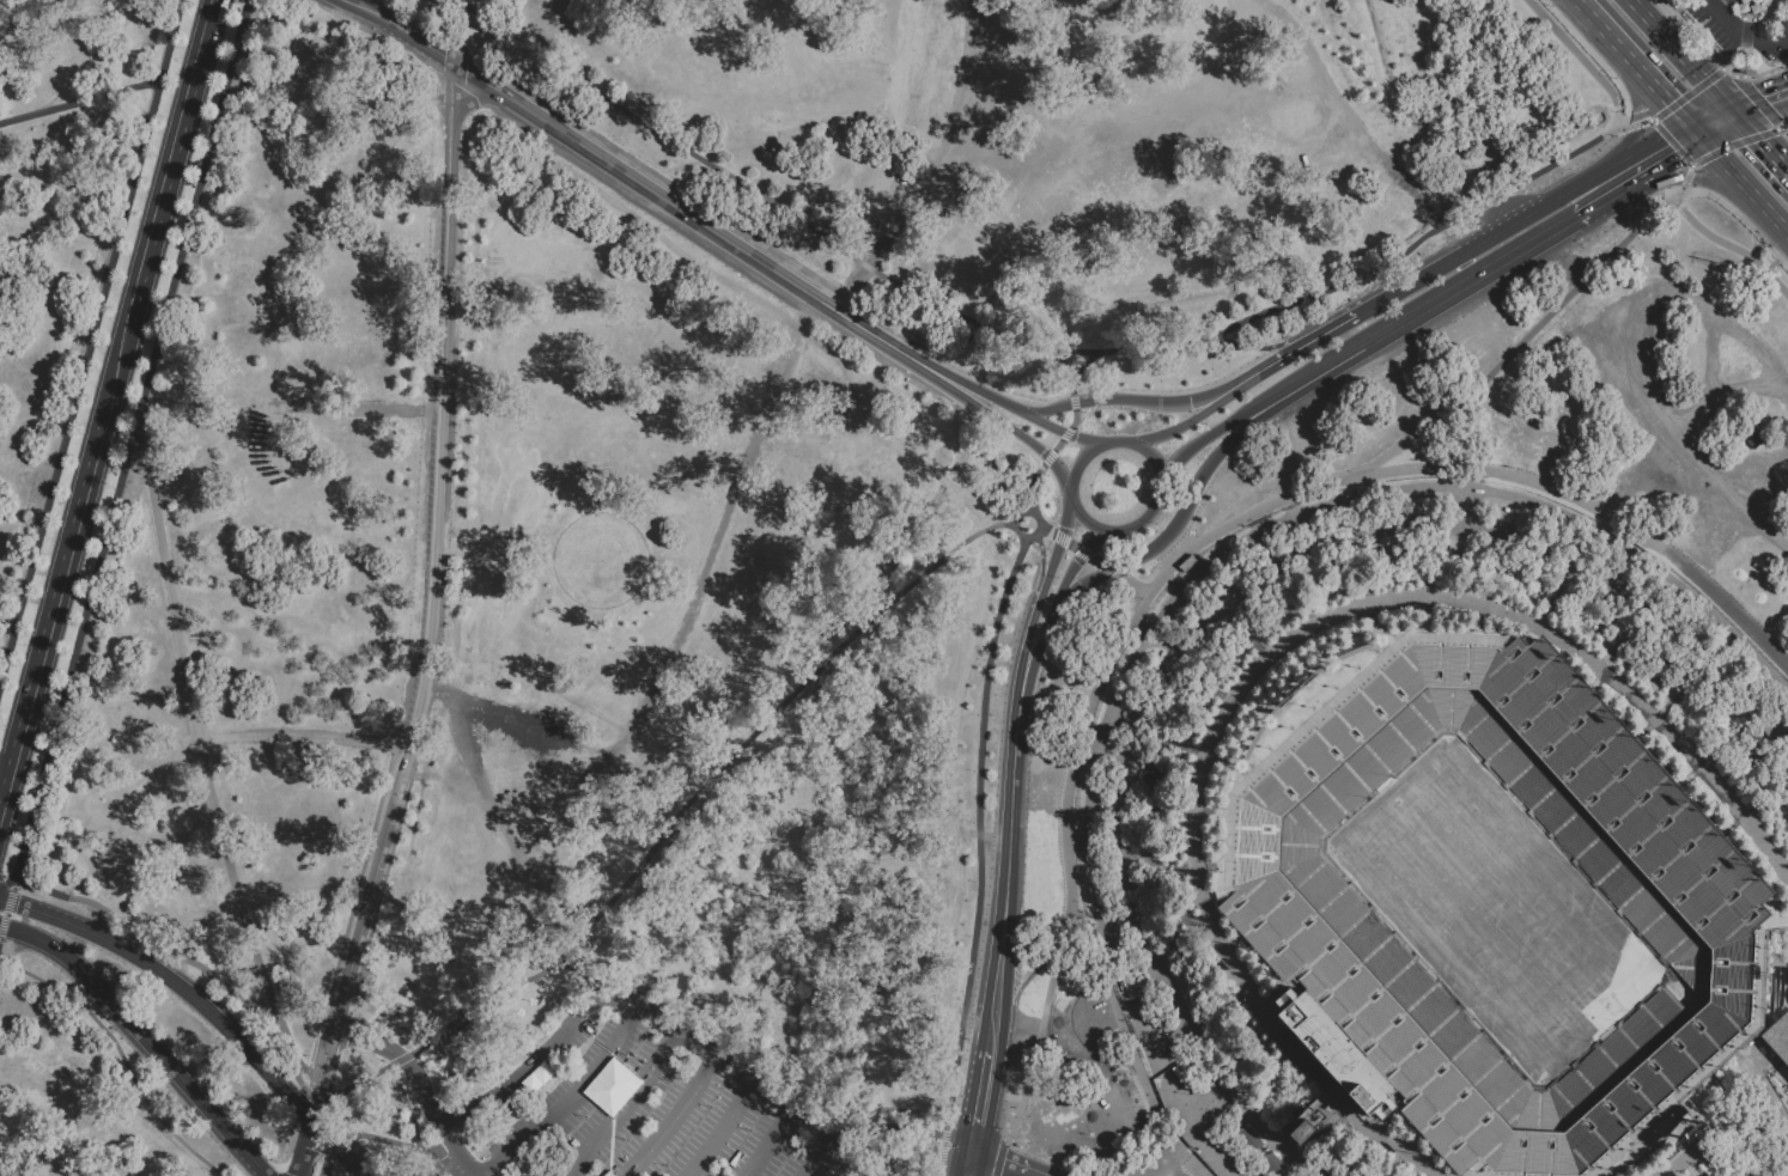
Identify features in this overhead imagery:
building: (1741, 6)
building: (1753, 6)
road: (1765, 20)
road: (1727, 23)
parking lot: (1743, 26)
road: (1602, 30)
road: (455, 31)
road: (1744, 36)
road: (201, 39)
road: (1770, 41)
road: (1683, 55)
road: (1579, 59)
road: (1756, 74)
road: (1689, 92)
road: (1664, 95)
road: (79, 100)
traffic signals: (1671, 102)
traffic signals: (1769, 103)
road: (1760, 104)
road: (1640, 108)
road: (1266, 118)
traffic signals: (1638, 118)
road: (1715, 121)
road: (1636, 124)
road: (1357, 126)
road: (1774, 129)
road: (1680, 132)
road: (1783, 132)
traffic signals: (1759, 140)
road: (1759, 141)
road: (1672, 144)
road: (1106, 145)
road: (1644, 145)
traffic signals: (1680, 157)
road: (1674, 159)
road: (609, 164)
road: (1727, 165)
road: (951, 176)
traffic signals: (1681, 176)
road: (1687, 176)
road: (1701, 177)
road: (1586, 179)
road: (752, 191)
road: (1677, 191)
road: (1610, 199)
road: (158, 200)
road: (1772, 217)
road: (1504, 226)
road: (1731, 243)
road: (1410, 249)
road: (1467, 267)
road: (1410, 284)
road: (1410, 319)
road: (90, 339)
road: (883, 341)
road: (1252, 348)
road: (1290, 352)
road: (1126, 353)
road: (1616, 353)
road: (920, 367)
road: (114, 368)
road: (1066, 373)
road: (962, 382)
road: (1725, 395)
road: (1126, 398)
road: (1072, 401)
road: (439, 418)
road: (991, 418)
road: (1072, 419)
parking lot: (1678, 420)
road: (1185, 422)
building: (1758, 429)
road: (1059, 431)
road: (1064, 432)
road: (129, 439)
road: (986, 441)
road: (1194, 441)
road: (1057, 444)
road: (1091, 446)
road: (1048, 456)
road: (1154, 458)
road: (1056, 467)
road: (1764, 481)
road: (1032, 488)
park: (620, 490)
road: (1069, 492)
road: (1283, 494)
road: (1029, 510)
road: (1595, 513)
road: (1144, 517)
road: (1083, 522)
road: (1169, 529)
road: (1044, 531)
road: (1096, 538)
road: (1060, 540)
road: (1059, 541)
road: (1072, 547)
road: (1084, 550)
road: (1083, 553)
road: (1041, 556)
building: (1394, 557)
road: (1095, 561)
building: (1187, 563)
road: (1108, 568)
road: (1068, 574)
road: (1125, 579)
road: (1144, 584)
road: (1136, 599)
road: (53, 609)
road: (1032, 619)
road: (1041, 628)
building: (1656, 663)
road: (302, 735)
road: (205, 767)
building: (1156, 773)
road: (1, 805)
road: (680, 824)
road: (1011, 824)
road: (979, 828)
road: (5, 878)
building: (1288, 903)
road: (6, 906)
stadium: (1474, 910)
park: (1494, 912)
road: (353, 944)
road: (162, 946)
road: (1039, 952)
road: (582, 969)
building: (883, 974)
road: (203, 1006)
road: (628, 1007)
road: (995, 1023)
road: (1046, 1024)
road: (142, 1037)
building: (458, 1040)
building: (1781, 1041)
road: (1132, 1042)
road: (116, 1056)
road: (1103, 1060)
road: (403, 1062)
building: (1199, 1084)
road: (1004, 1097)
road: (567, 1102)
road: (318, 1104)
road: (983, 1104)
road: (624, 1105)
parking lot: (630, 1107)
road: (669, 1119)
road: (716, 1132)
building: (1301, 1133)
road: (333, 1140)
road: (899, 1140)
road: (355, 1143)
road: (397, 1143)
road: (767, 1143)
road: (303, 1147)
road: (941, 1150)
road: (810, 1152)
road: (466, 1153)
building: (1255, 1154)
road: (999, 1156)
building: (1186, 1158)
road: (326, 1166)
road: (969, 1166)
road: (998, 1166)

